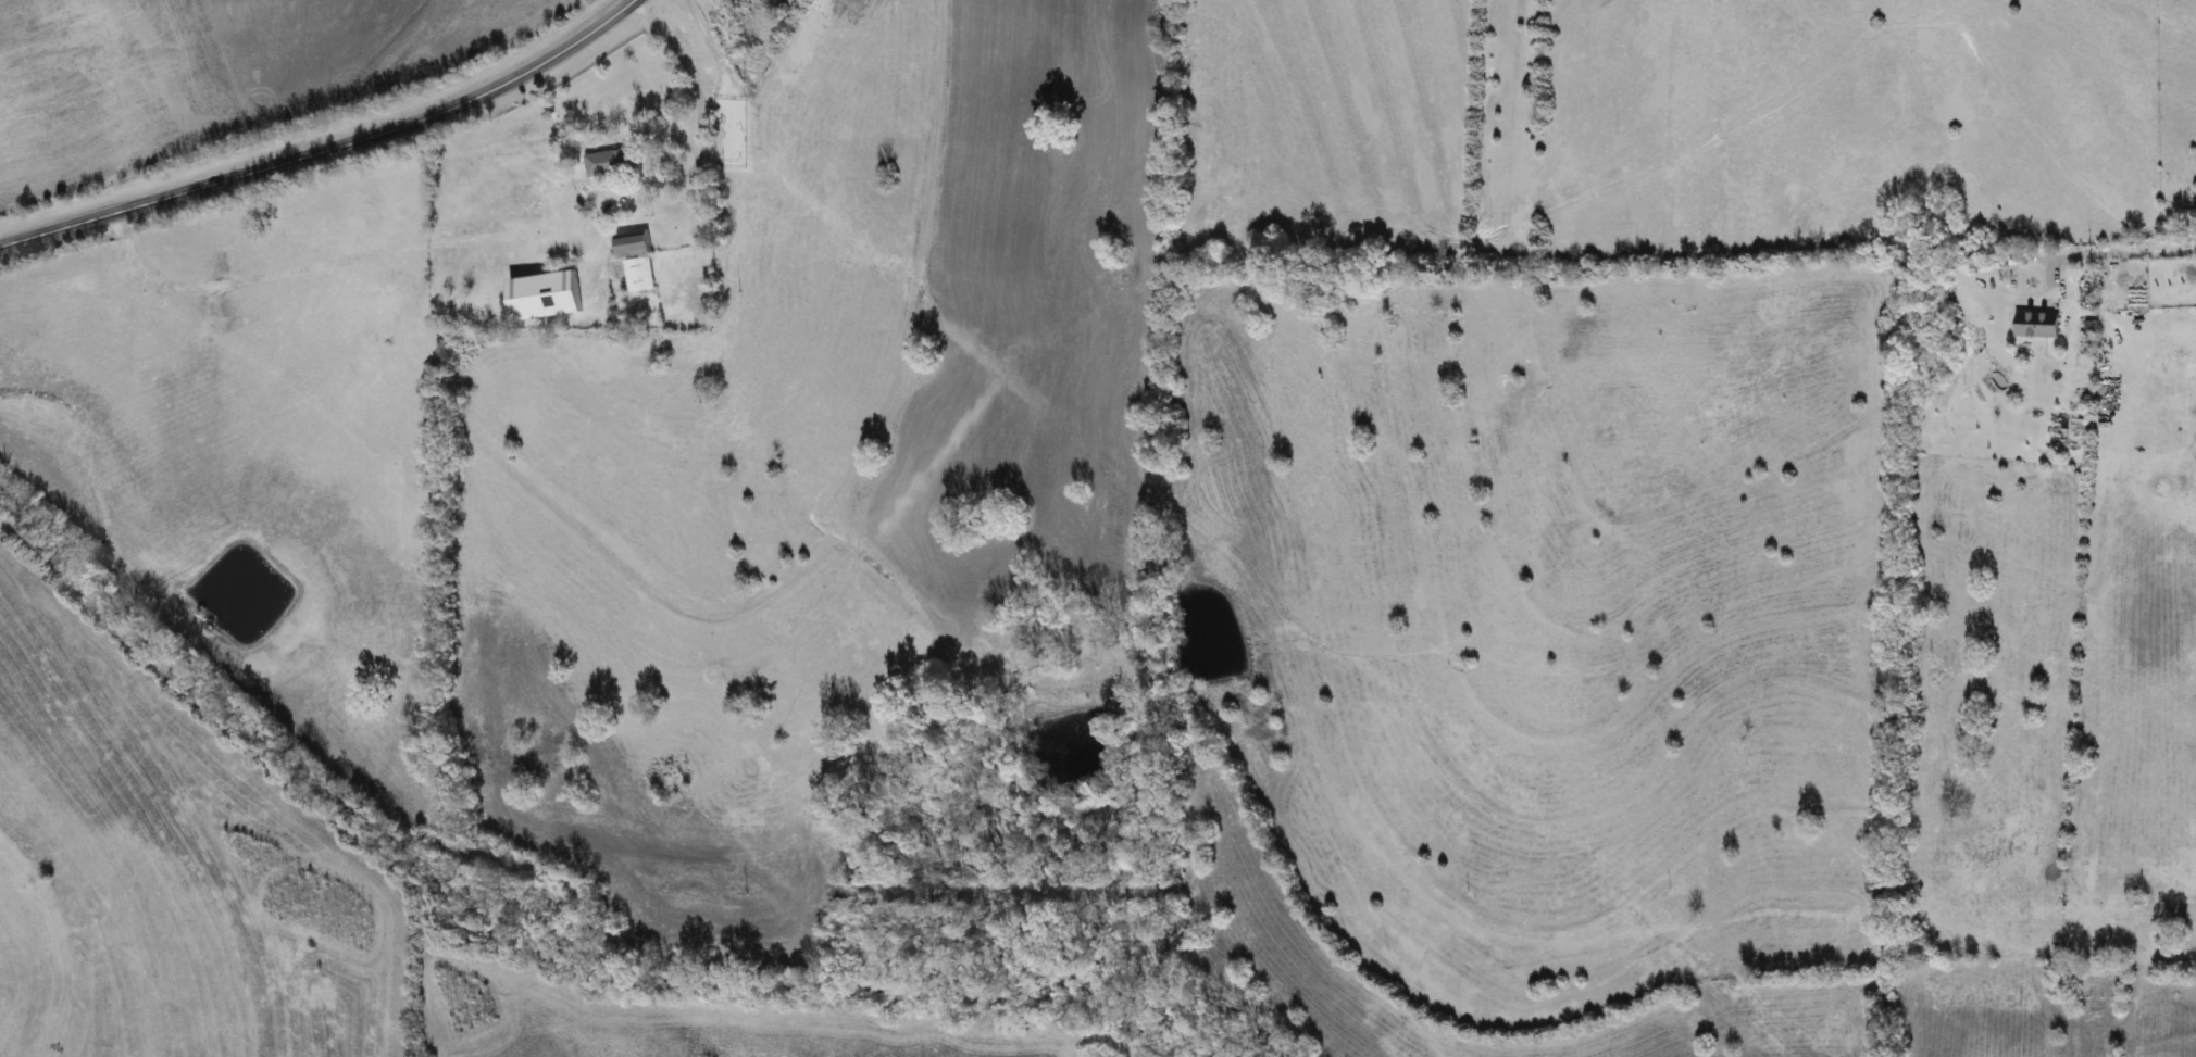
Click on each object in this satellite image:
road: (670, 45)
road: (527, 71)
building: (609, 162)
road: (208, 183)
road: (487, 240)
building: (633, 243)
road: (2119, 253)
building: (638, 274)
building: (2037, 324)

